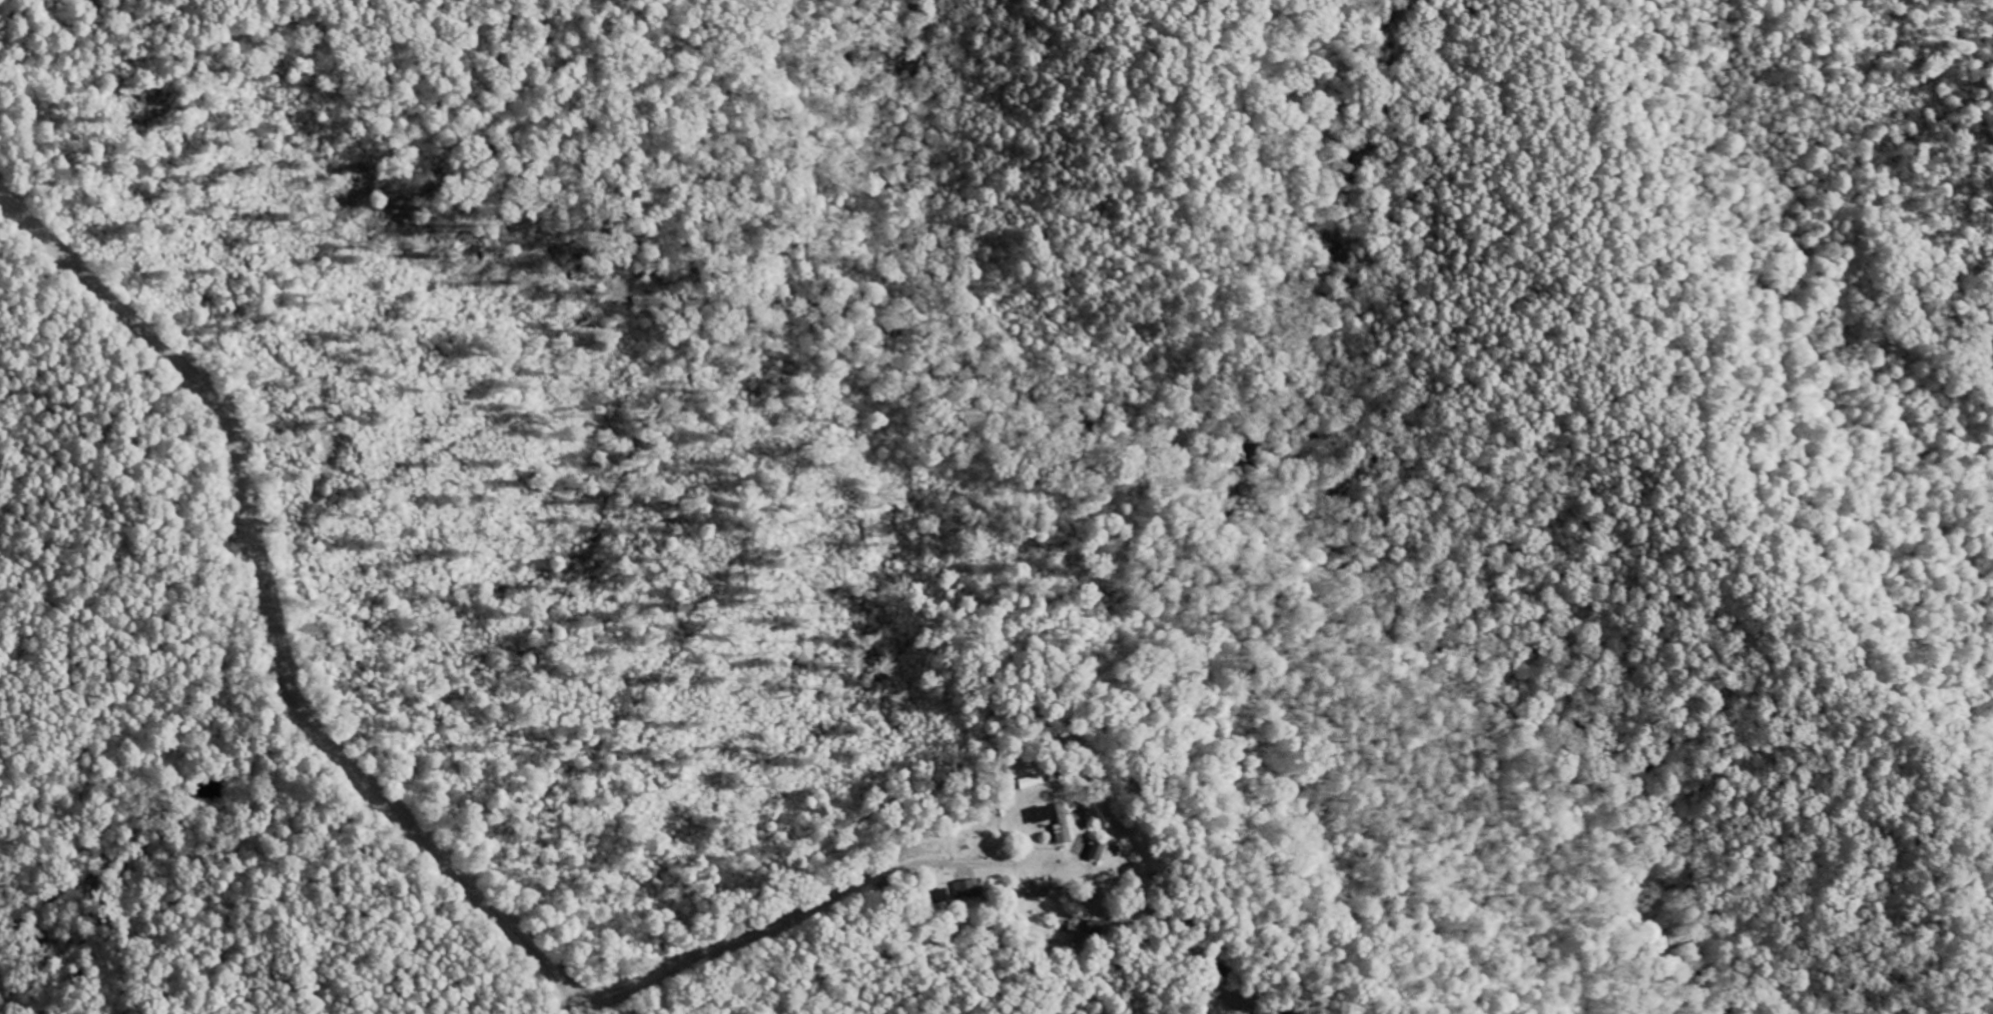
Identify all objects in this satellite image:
road: (259, 600)
building: (1058, 822)
building: (969, 889)
road: (767, 912)

